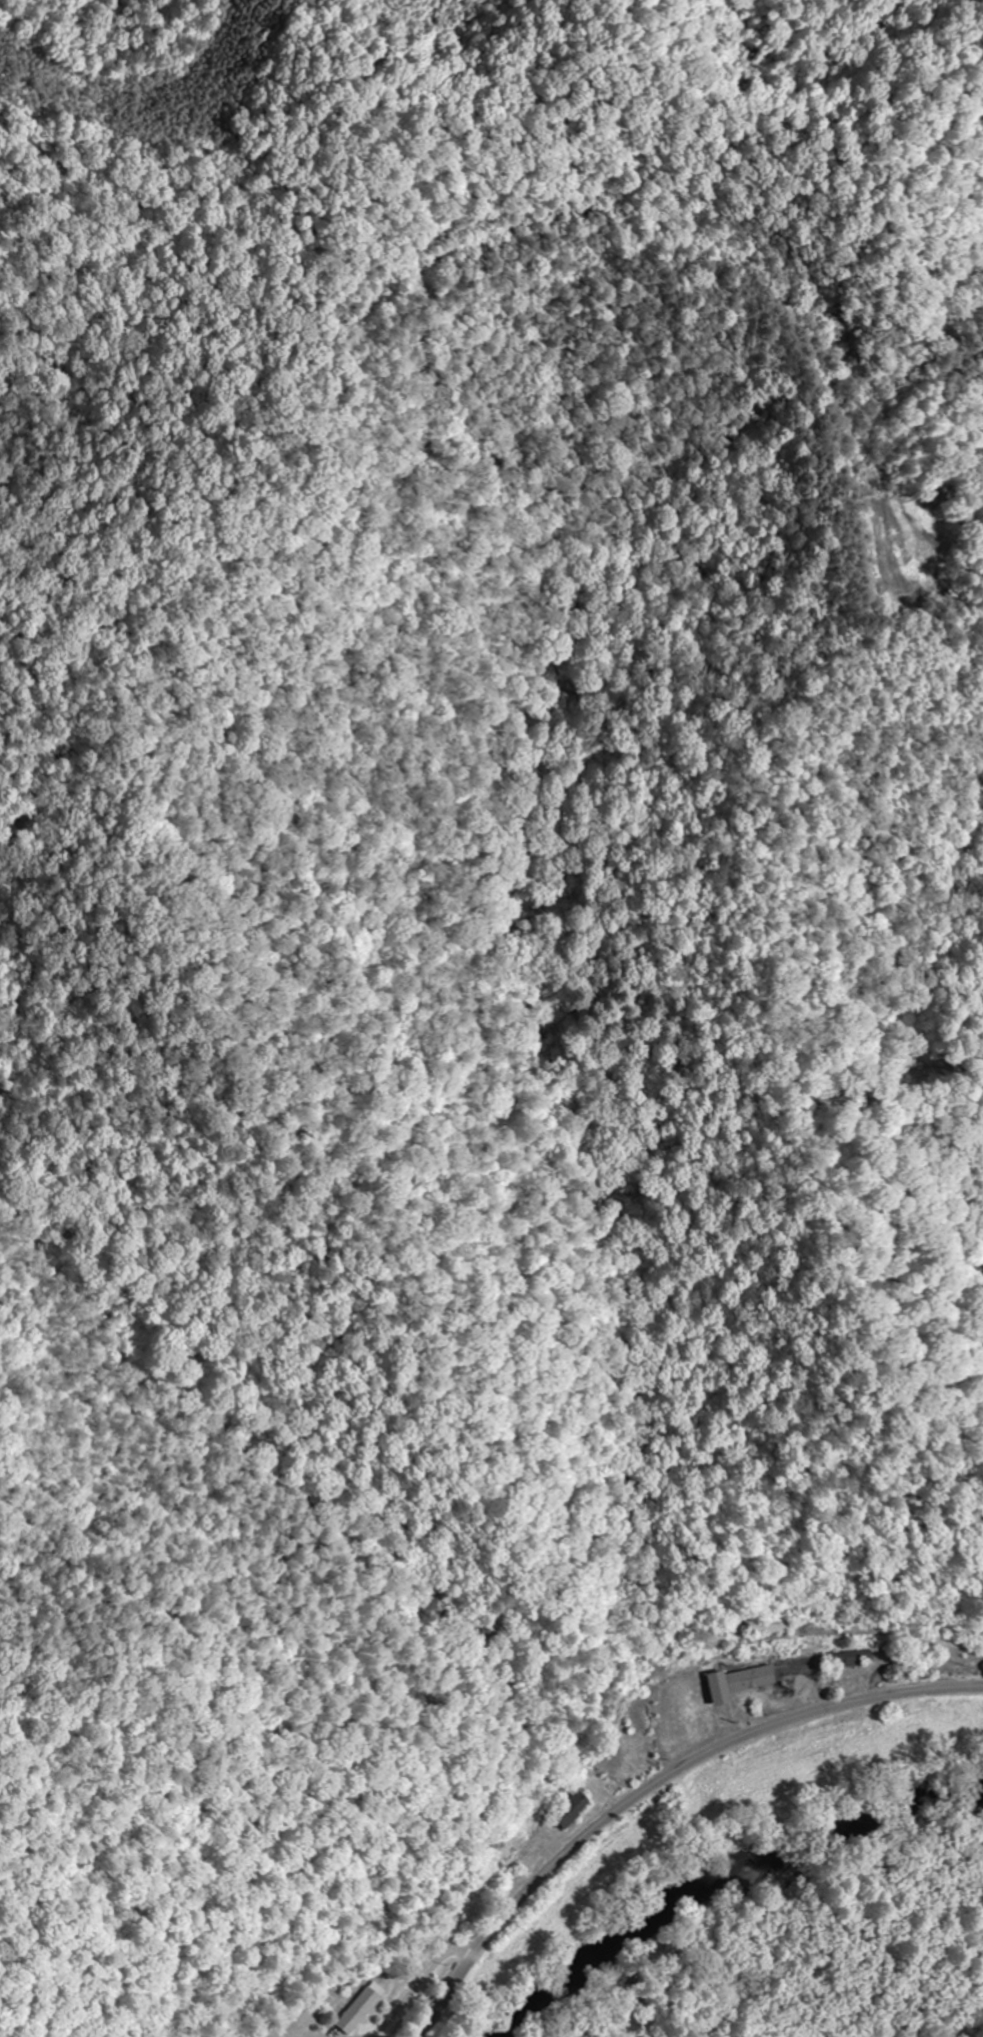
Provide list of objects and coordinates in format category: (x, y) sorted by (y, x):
building: (740, 1682)
road: (656, 1785)
building: (359, 2006)

